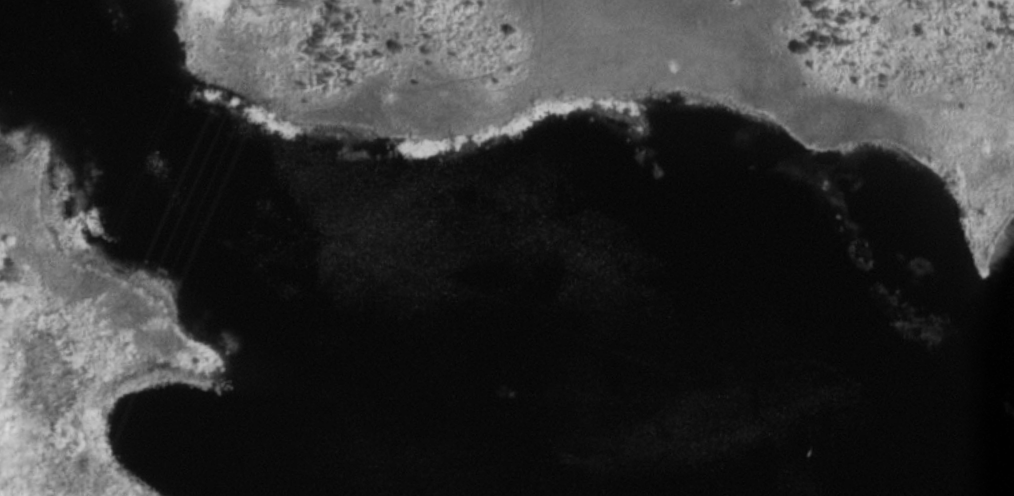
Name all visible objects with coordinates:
road: (182, 4)
power tower: (252, 4)
park: (507, 248)
river: (485, 255)

